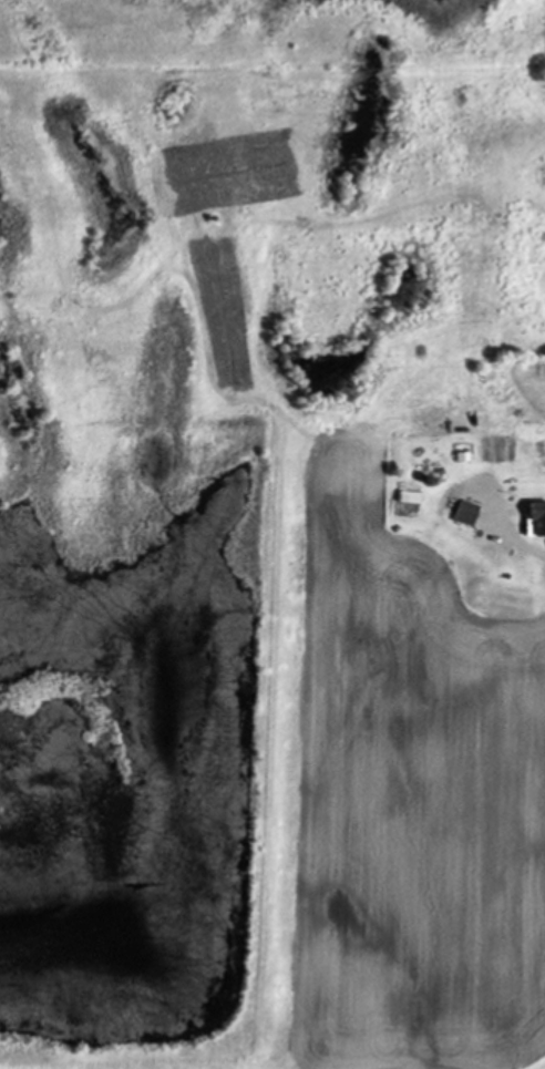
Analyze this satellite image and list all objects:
building: (459, 514)
road: (513, 538)

